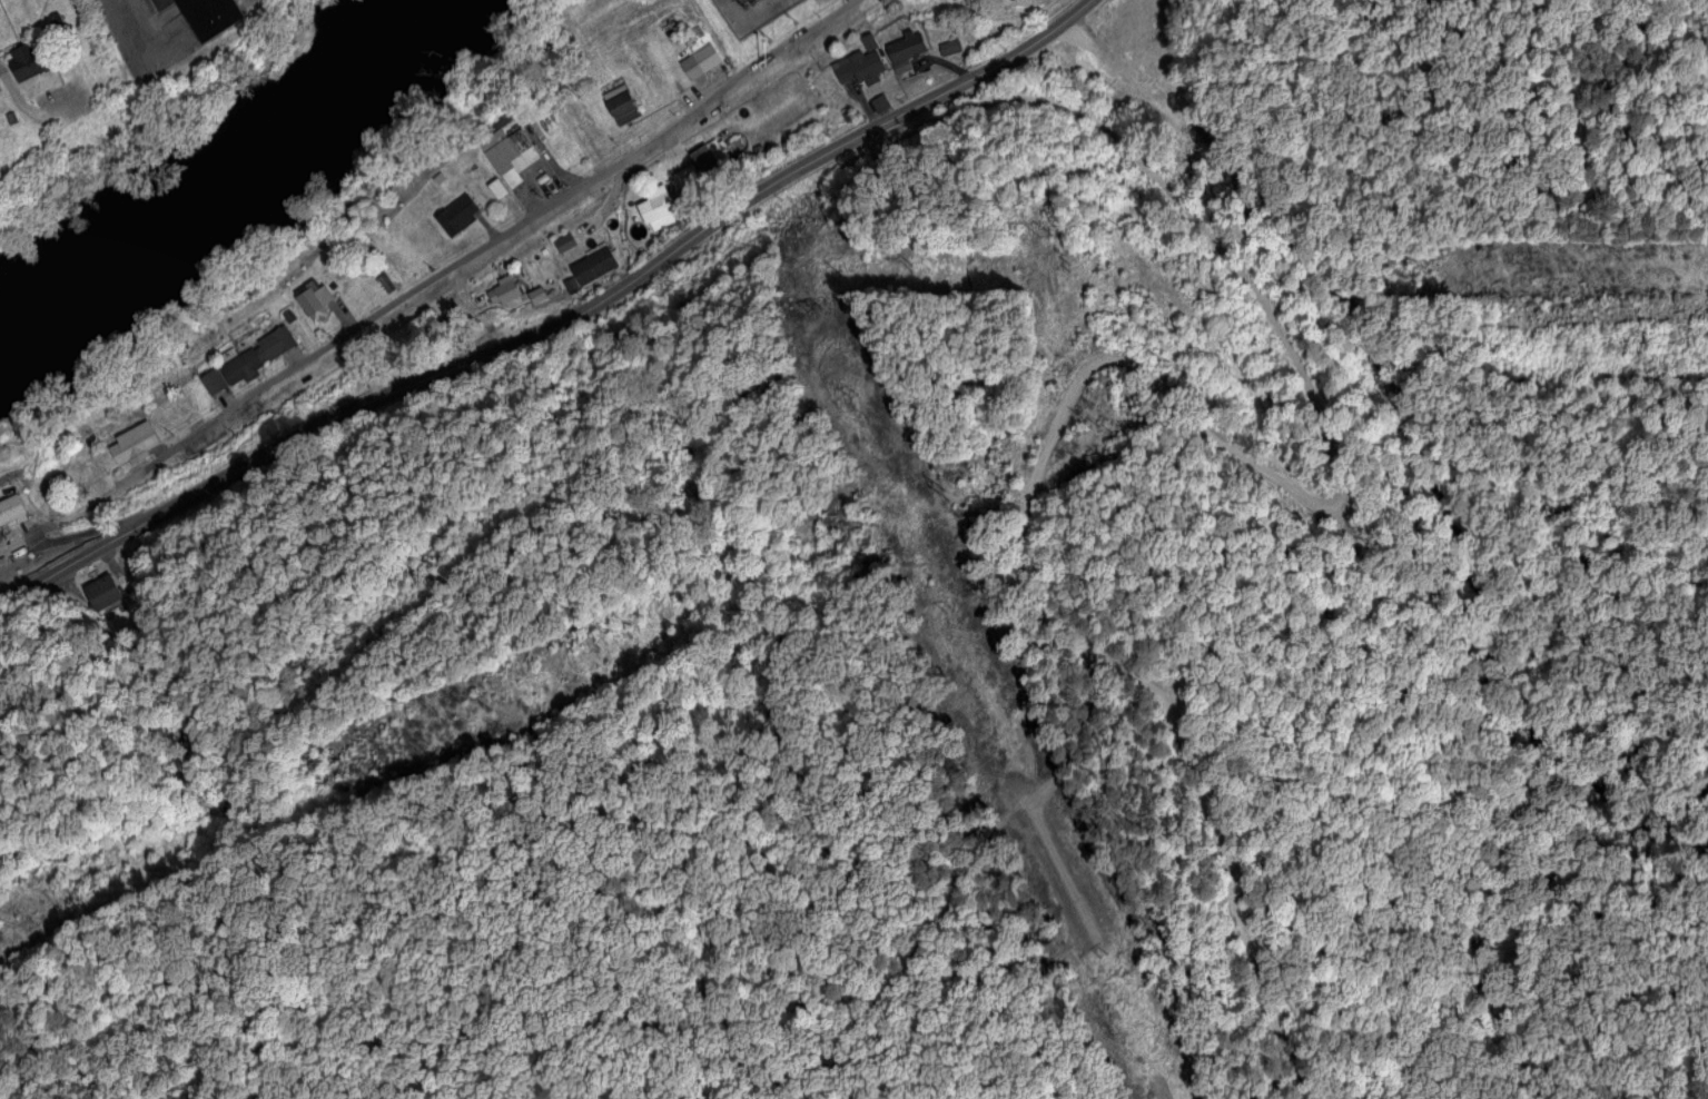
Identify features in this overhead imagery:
road: (1082, 3)
power substation: (750, 13)
building: (205, 16)
building: (1143, 23)
building: (868, 43)
building: (949, 49)
building: (905, 51)
building: (699, 63)
building: (24, 65)
building: (859, 69)
road: (20, 102)
building: (620, 105)
building: (879, 105)
building: (11, 119)
building: (507, 155)
building: (714, 155)
river: (234, 170)
building: (438, 180)
building: (687, 180)
building: (497, 187)
building: (656, 209)
building: (456, 216)
power tower: (1054, 241)
building: (563, 244)
road: (488, 245)
building: (592, 267)
building: (385, 284)
building: (505, 290)
building: (536, 294)
building: (313, 301)
road: (544, 317)
building: (248, 362)
road: (1171, 397)
power tower: (1100, 425)
building: (132, 444)
power tower: (950, 492)
building: (11, 508)
road: (98, 528)
building: (103, 593)
power tower: (486, 704)

